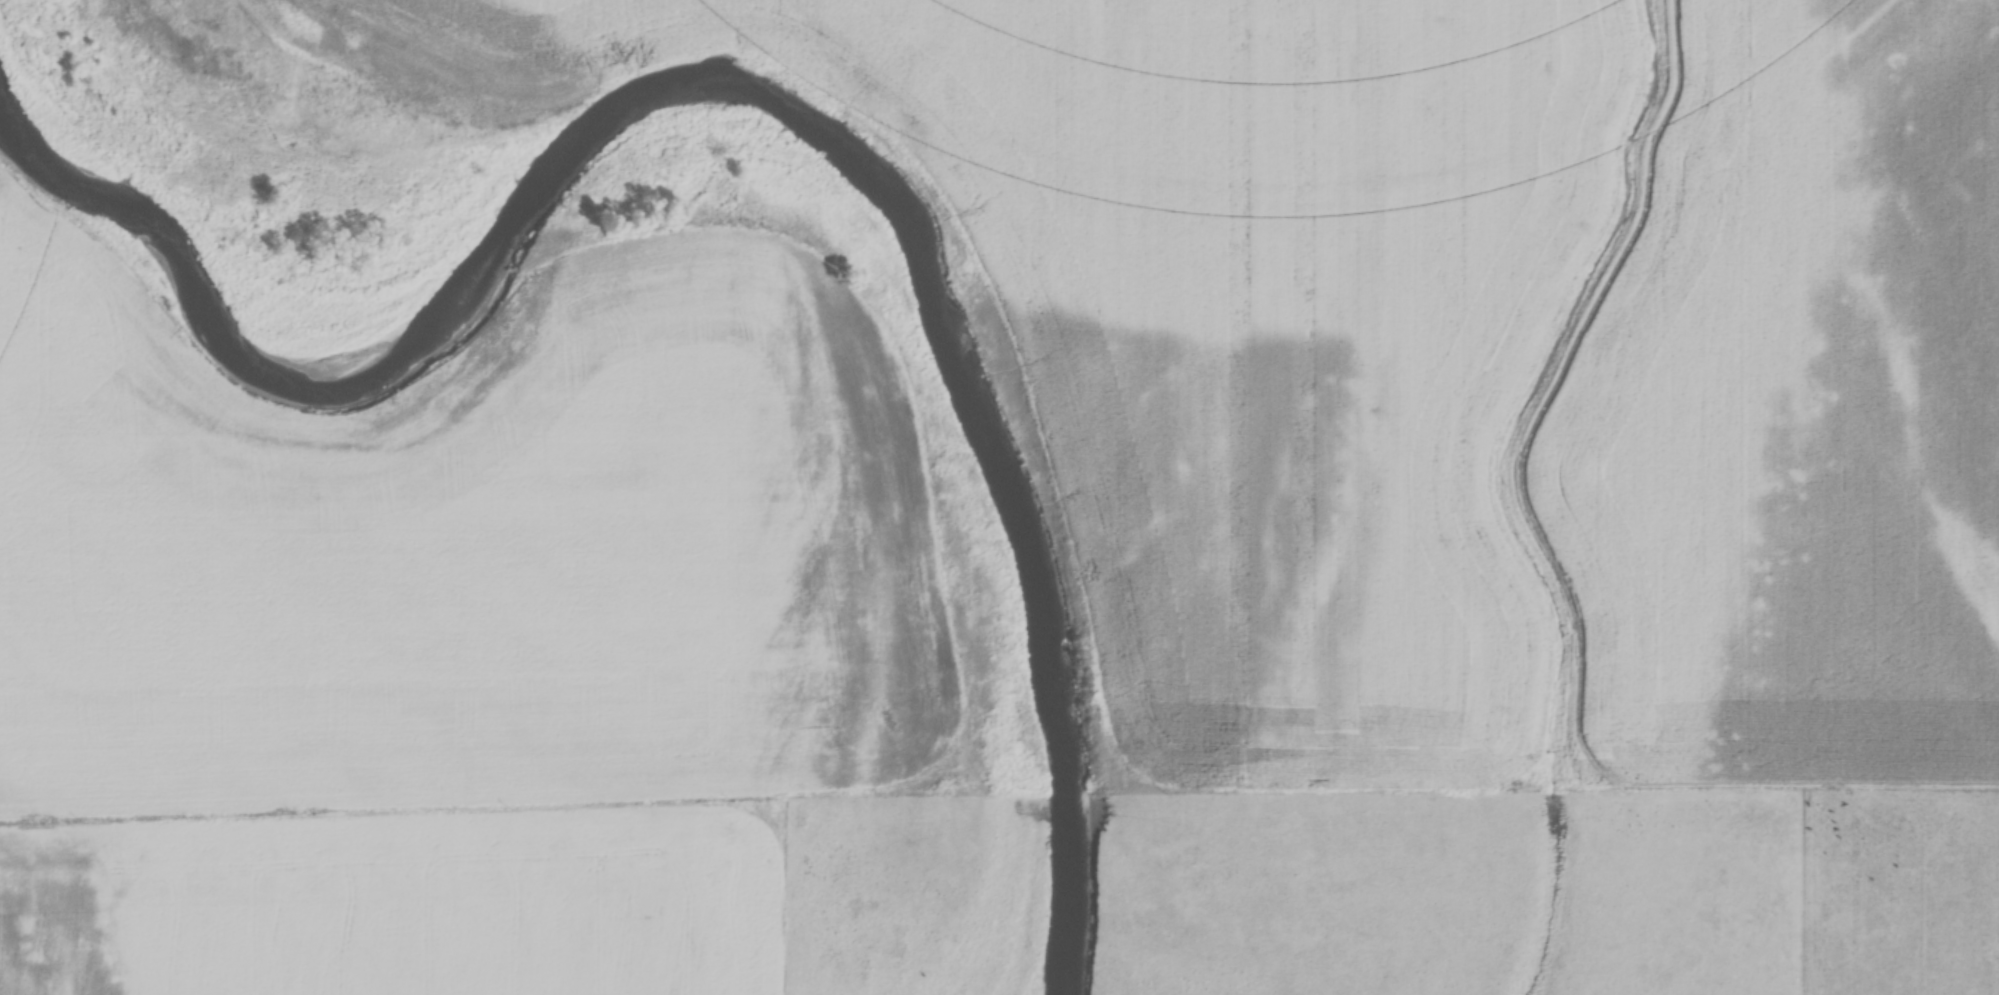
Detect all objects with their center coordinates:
river: (780, 110)

